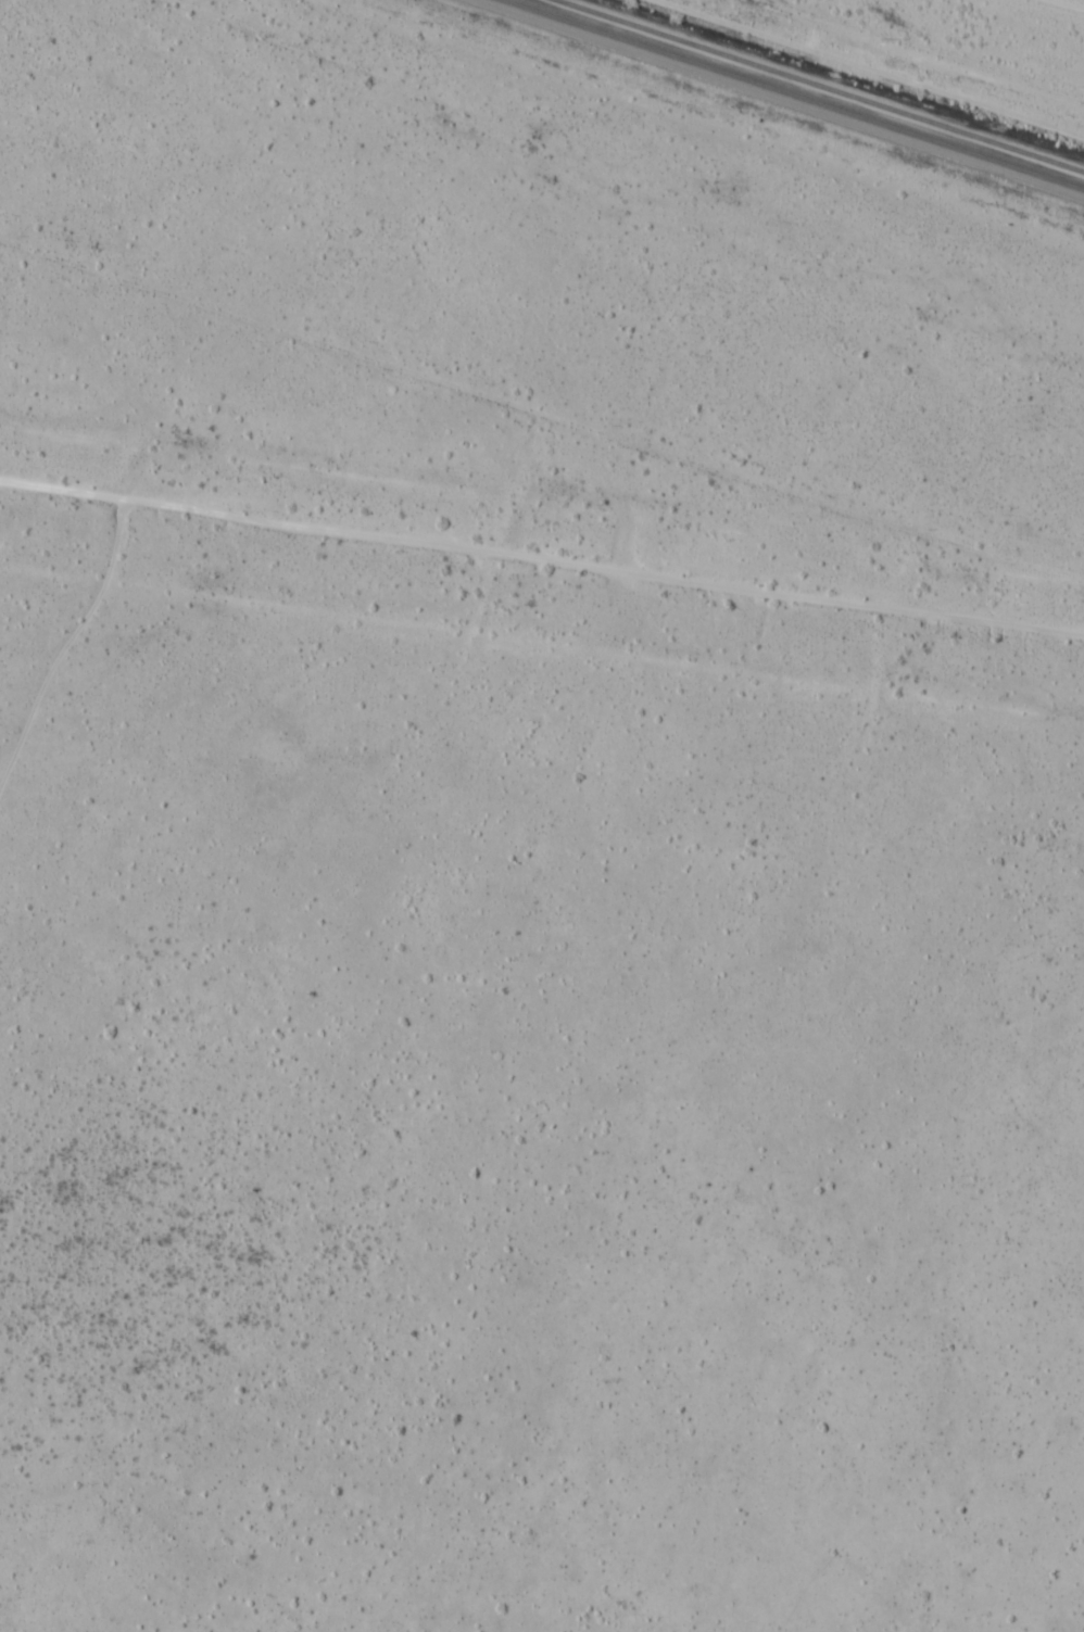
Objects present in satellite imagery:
road: (921, 54)
railway: (821, 85)
railway: (802, 91)
road: (568, 152)
road: (542, 590)
road: (64, 709)

